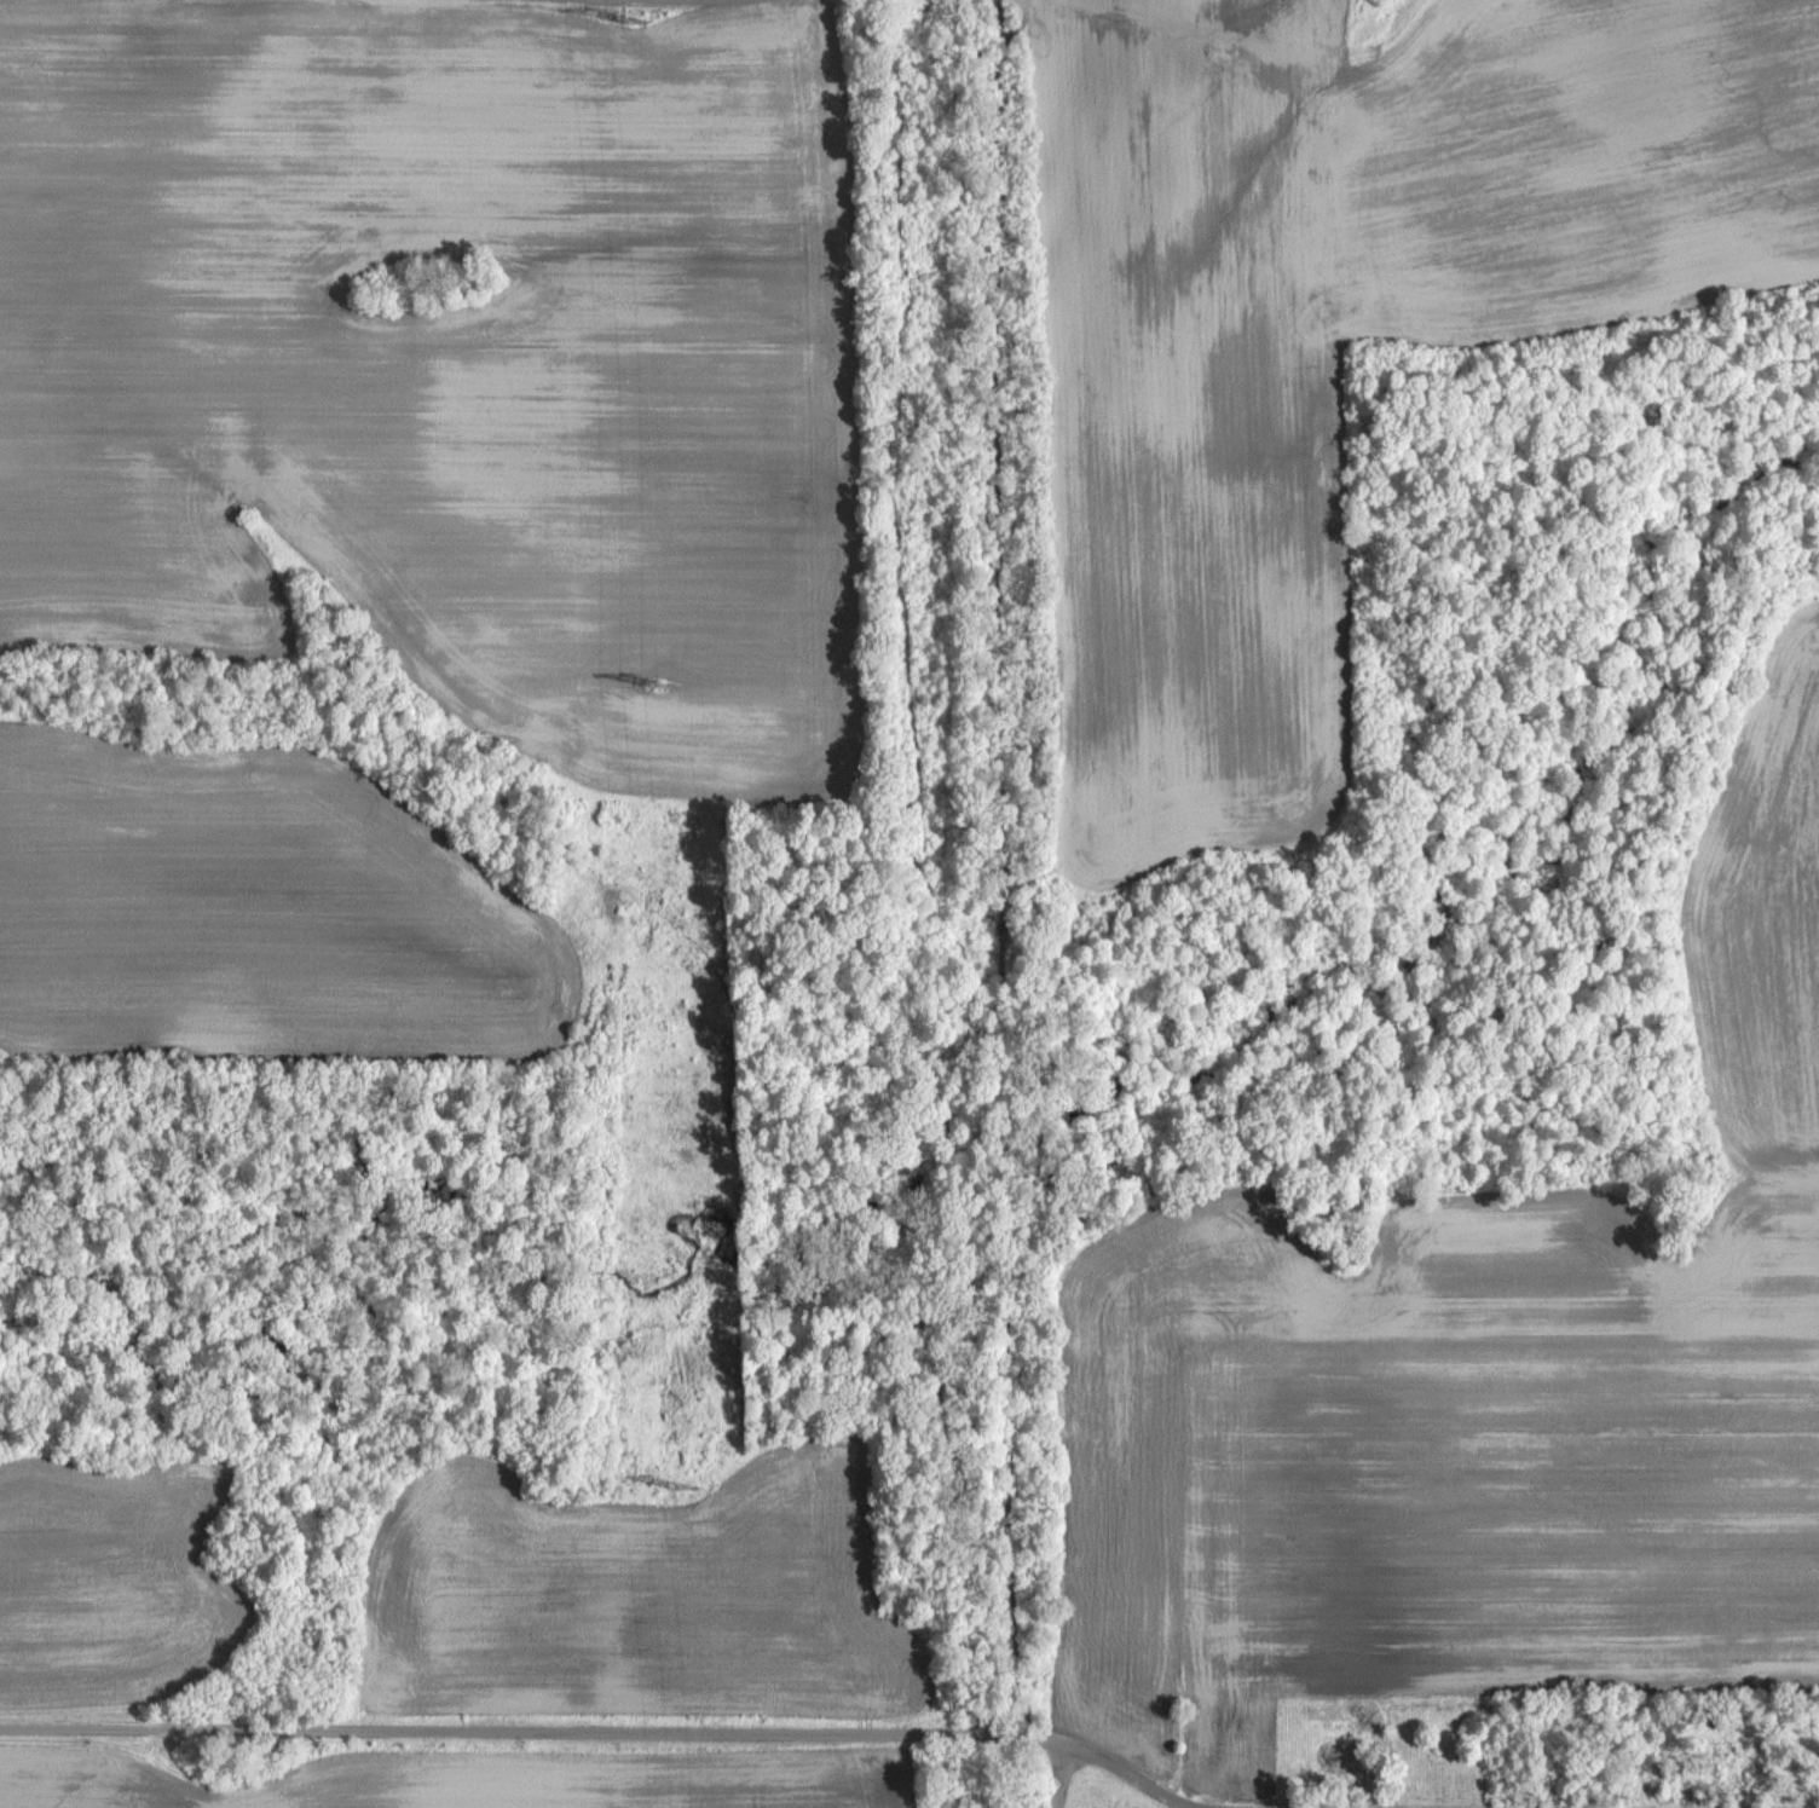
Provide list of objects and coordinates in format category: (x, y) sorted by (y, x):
power tower: (642, 18)
power tower: (665, 683)
power tower: (697, 1486)
road: (594, 1729)
road: (1058, 1781)

